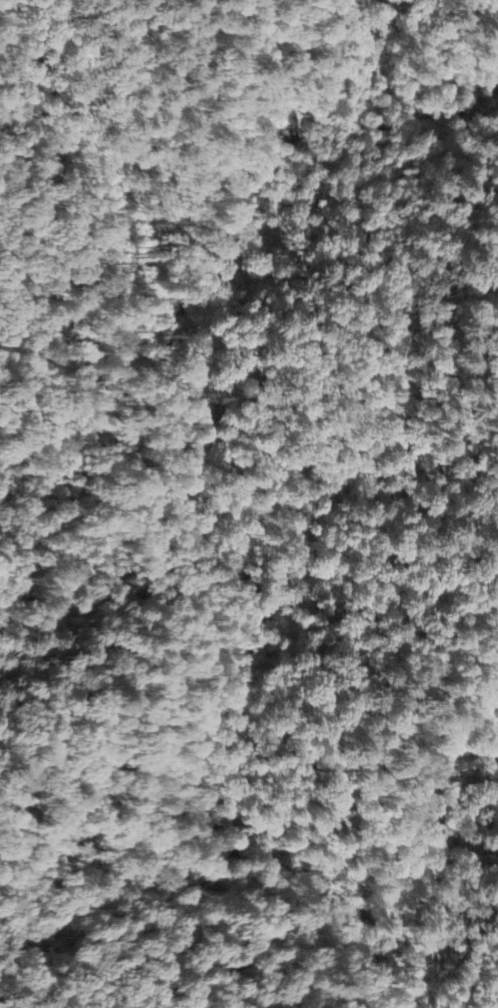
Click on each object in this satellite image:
road: (460, 30)
road: (119, 112)
road: (333, 378)

